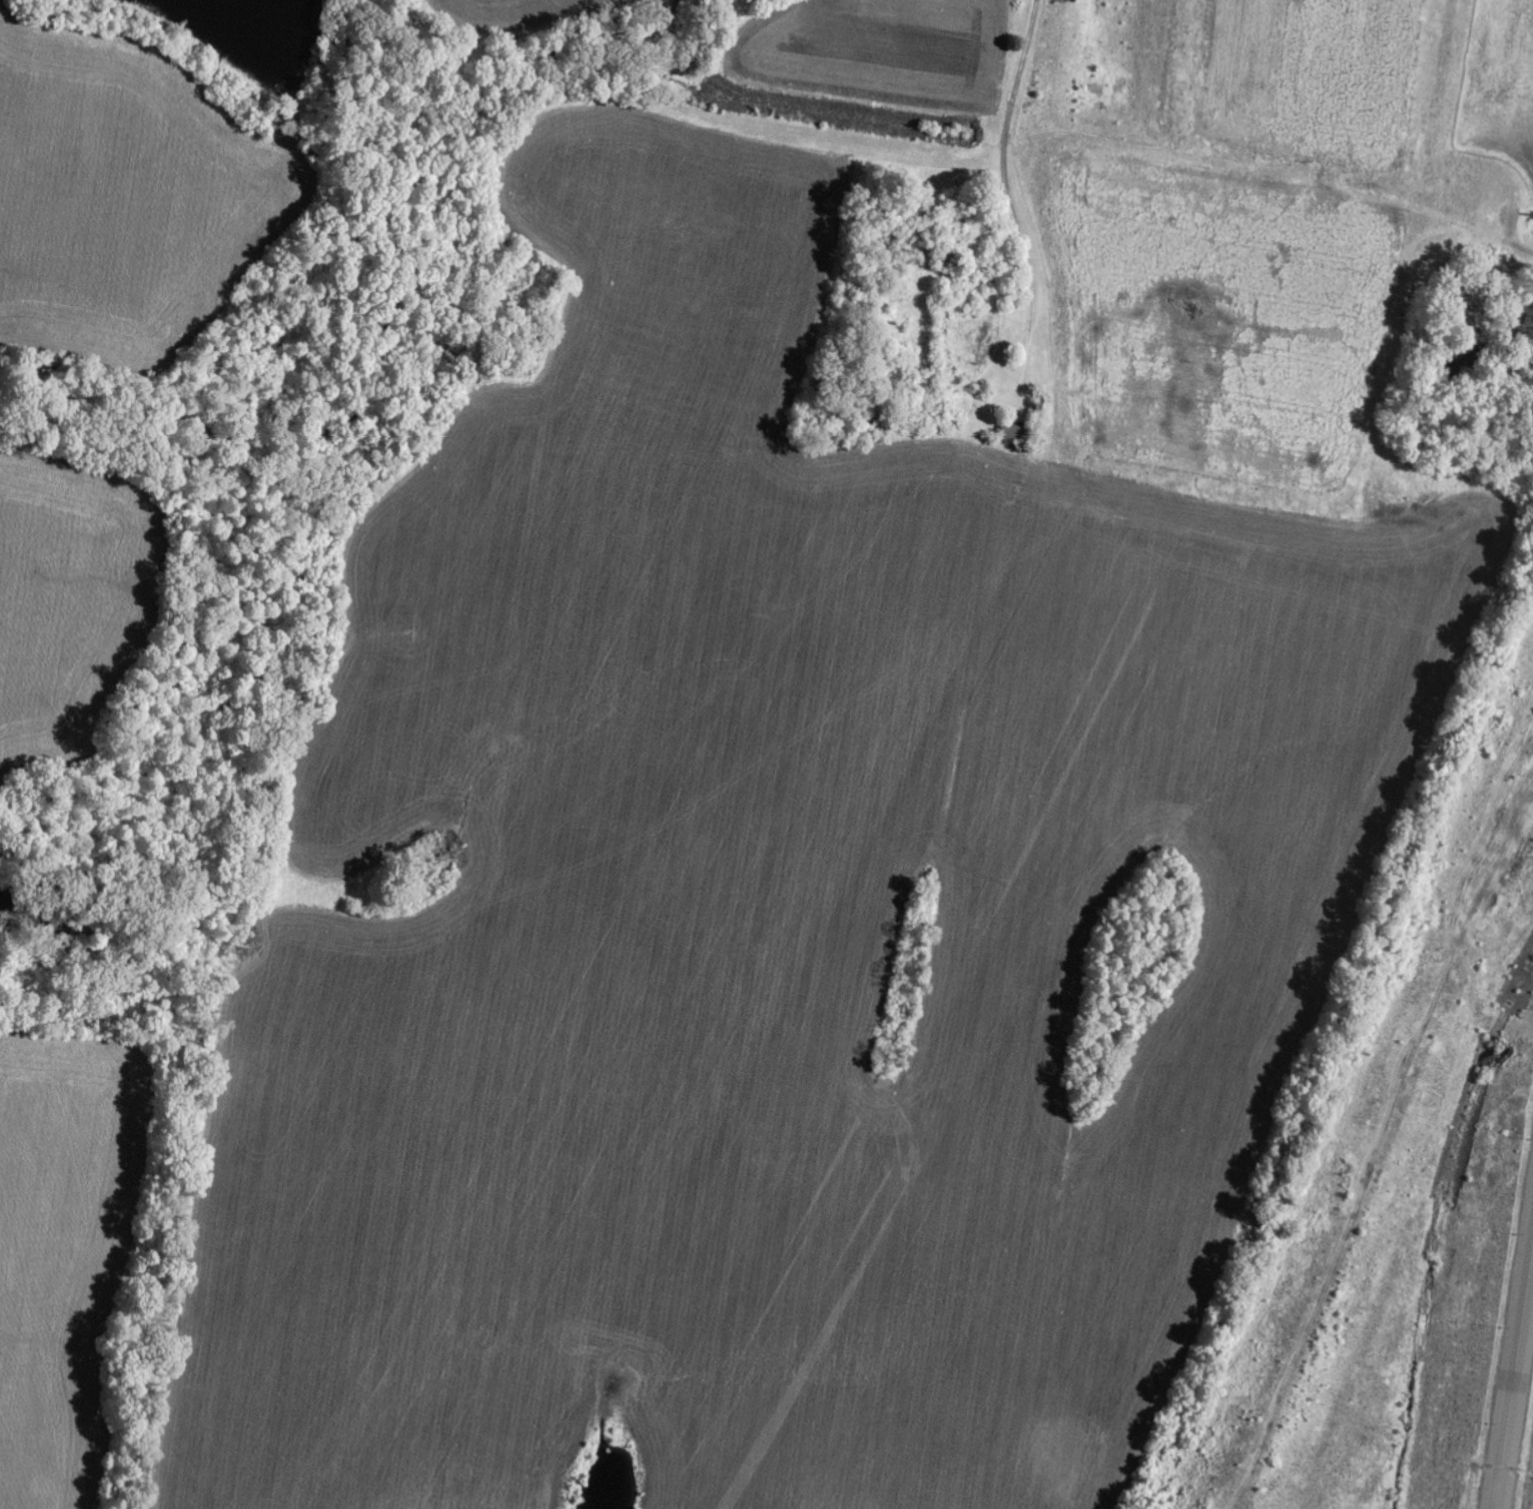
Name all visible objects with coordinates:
road: (1018, 204)
building: (1012, 434)
road: (1511, 1361)

